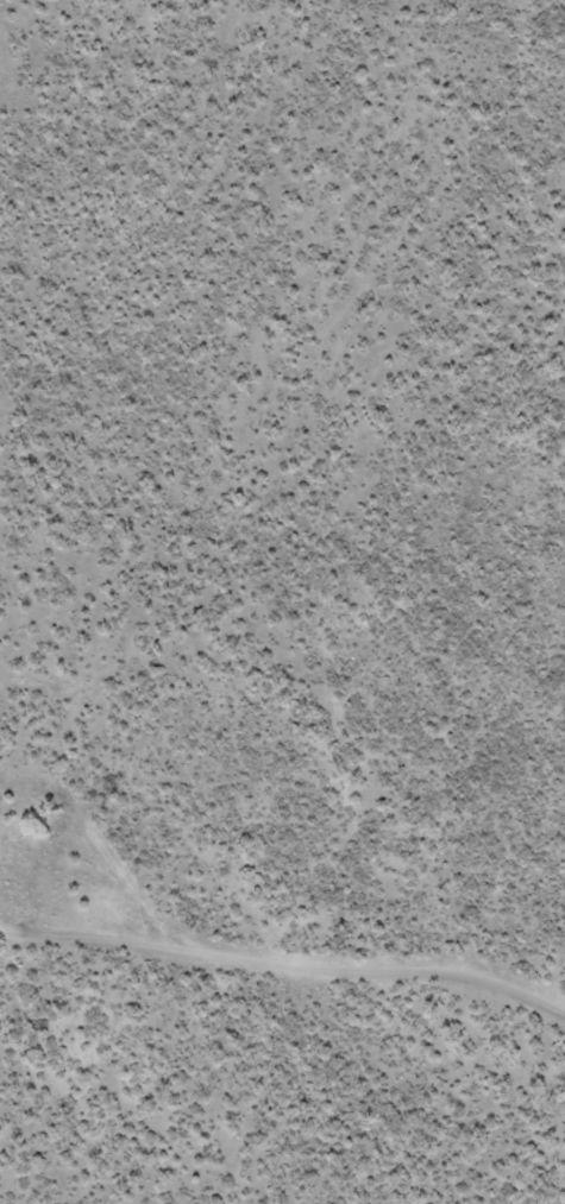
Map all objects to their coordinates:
road: (285, 959)

